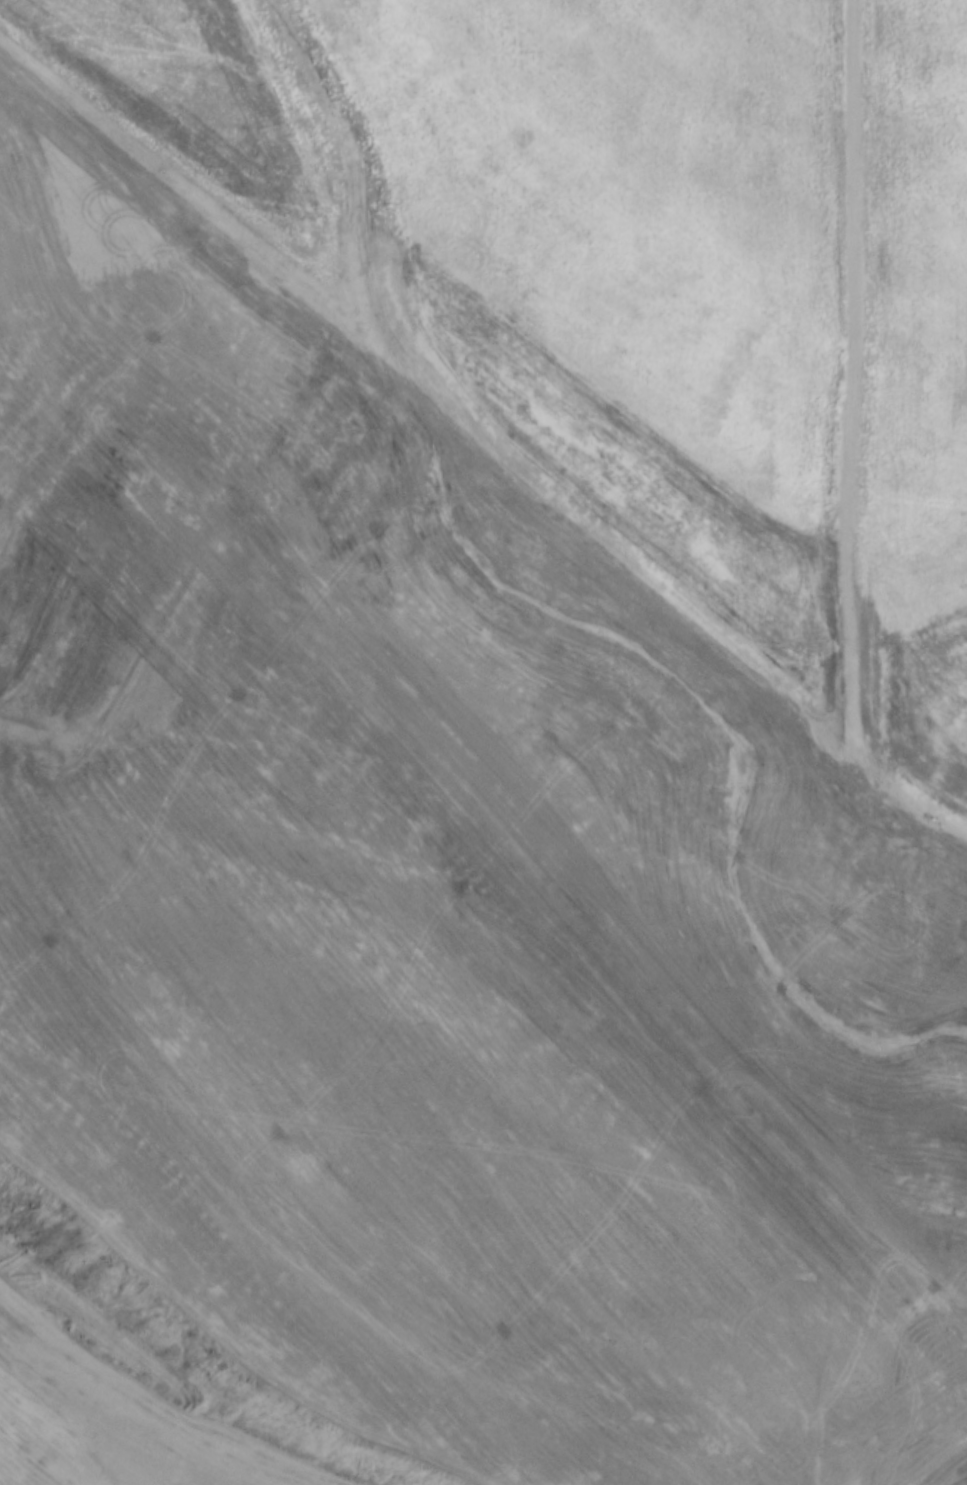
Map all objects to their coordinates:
building: (102, 1479)

